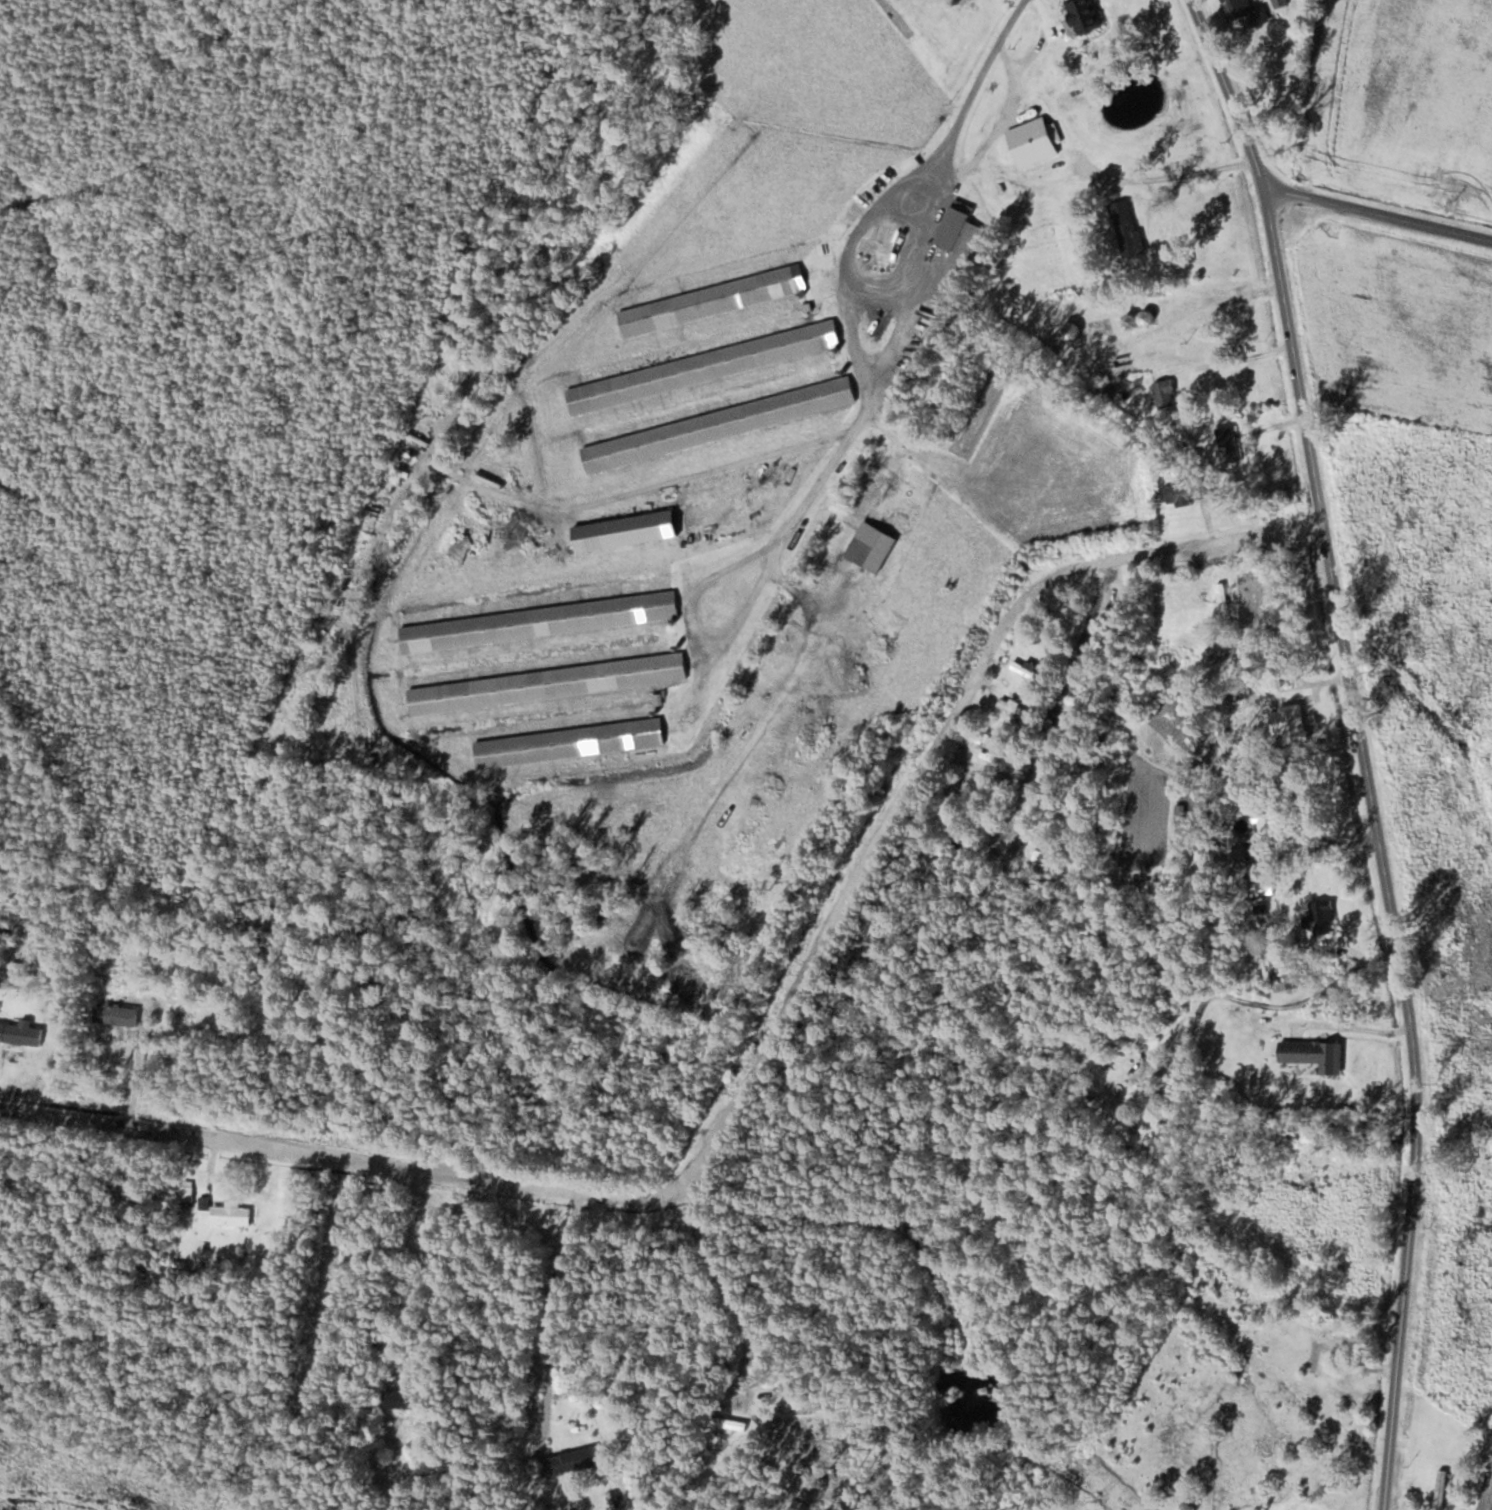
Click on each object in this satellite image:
building: (1280, 3)
building: (1243, 11)
building: (1082, 15)
building: (1034, 141)
road: (1380, 216)
building: (1126, 228)
building: (958, 263)
building: (711, 300)
road: (888, 352)
building: (703, 367)
building: (1164, 393)
building: (718, 424)
building: (1225, 442)
building: (1186, 492)
building: (624, 531)
building: (870, 546)
building: (942, 561)
building: (538, 621)
building: (1026, 669)
building: (546, 683)
building: (1295, 705)
building: (1016, 709)
building: (988, 738)
building: (569, 742)
road: (1366, 745)
building: (1090, 755)
building: (1179, 813)
building: (1270, 820)
building: (1239, 854)
building: (1042, 860)
building: (1285, 974)
building: (117, 1013)
building: (20, 1032)
building: (1314, 1054)
road: (760, 1057)
building: (1148, 1106)
building: (185, 1192)
building: (230, 1214)
building: (378, 1336)
building: (1314, 1354)
building: (397, 1398)
building: (574, 1460)
building: (1440, 1488)

